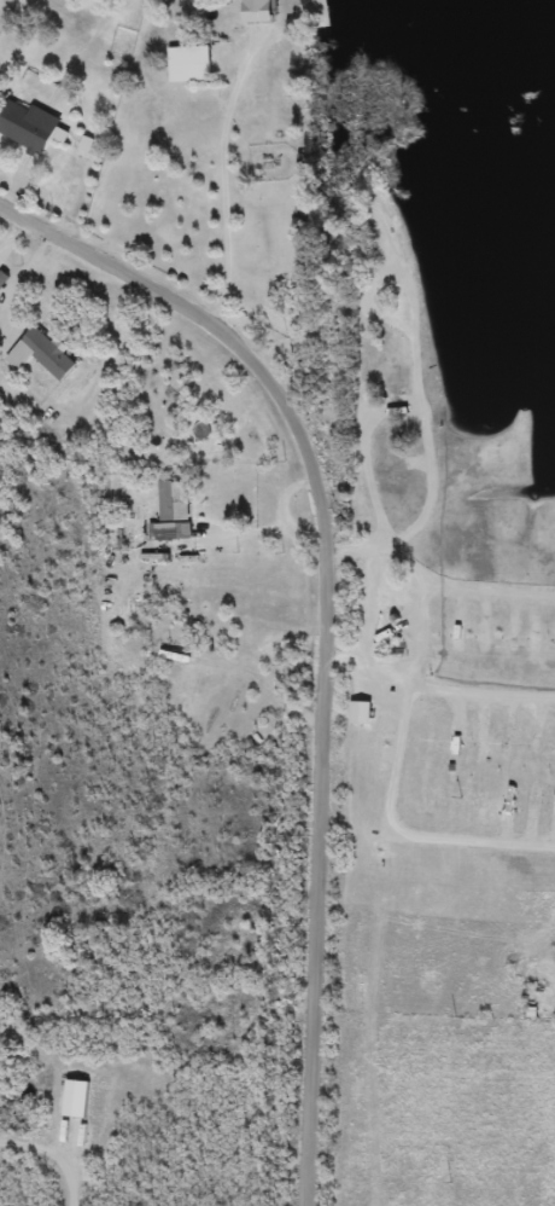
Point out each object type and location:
building: (262, 12)
building: (193, 65)
building: (1, 85)
building: (33, 128)
building: (304, 214)
building: (51, 355)
building: (175, 515)
road: (296, 663)
building: (78, 1098)

